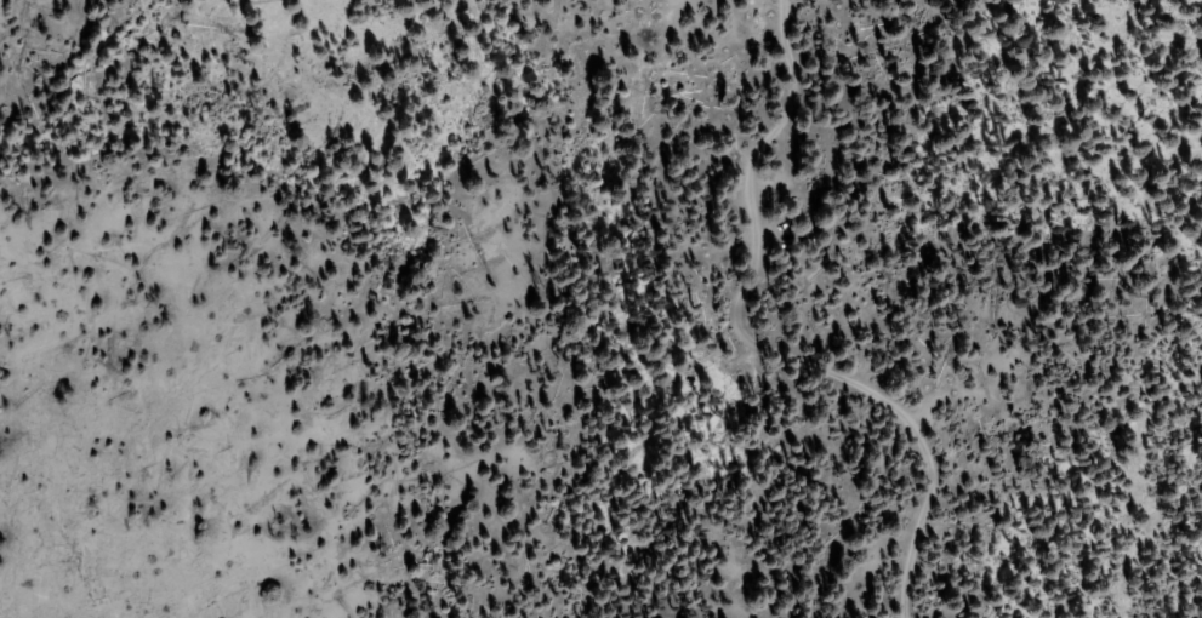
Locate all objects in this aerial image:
road: (773, 347)

